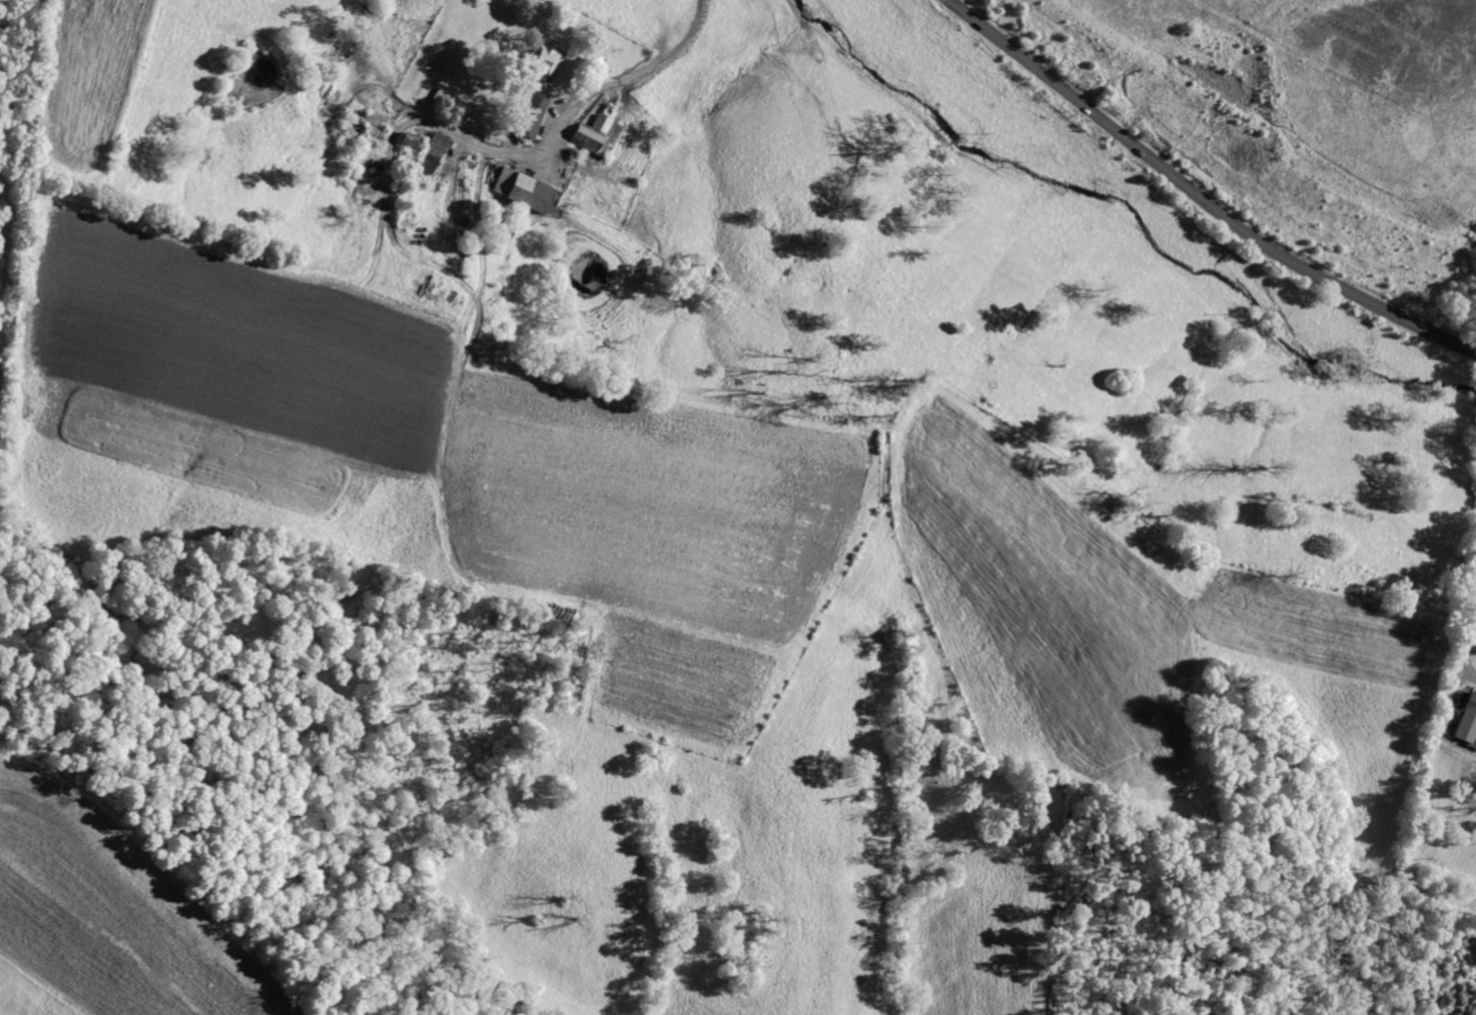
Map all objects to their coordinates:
building: (543, 60)
road: (592, 92)
building: (533, 115)
building: (596, 134)
building: (432, 152)
building: (522, 188)
road: (1201, 197)
road: (1461, 646)
building: (1467, 719)

